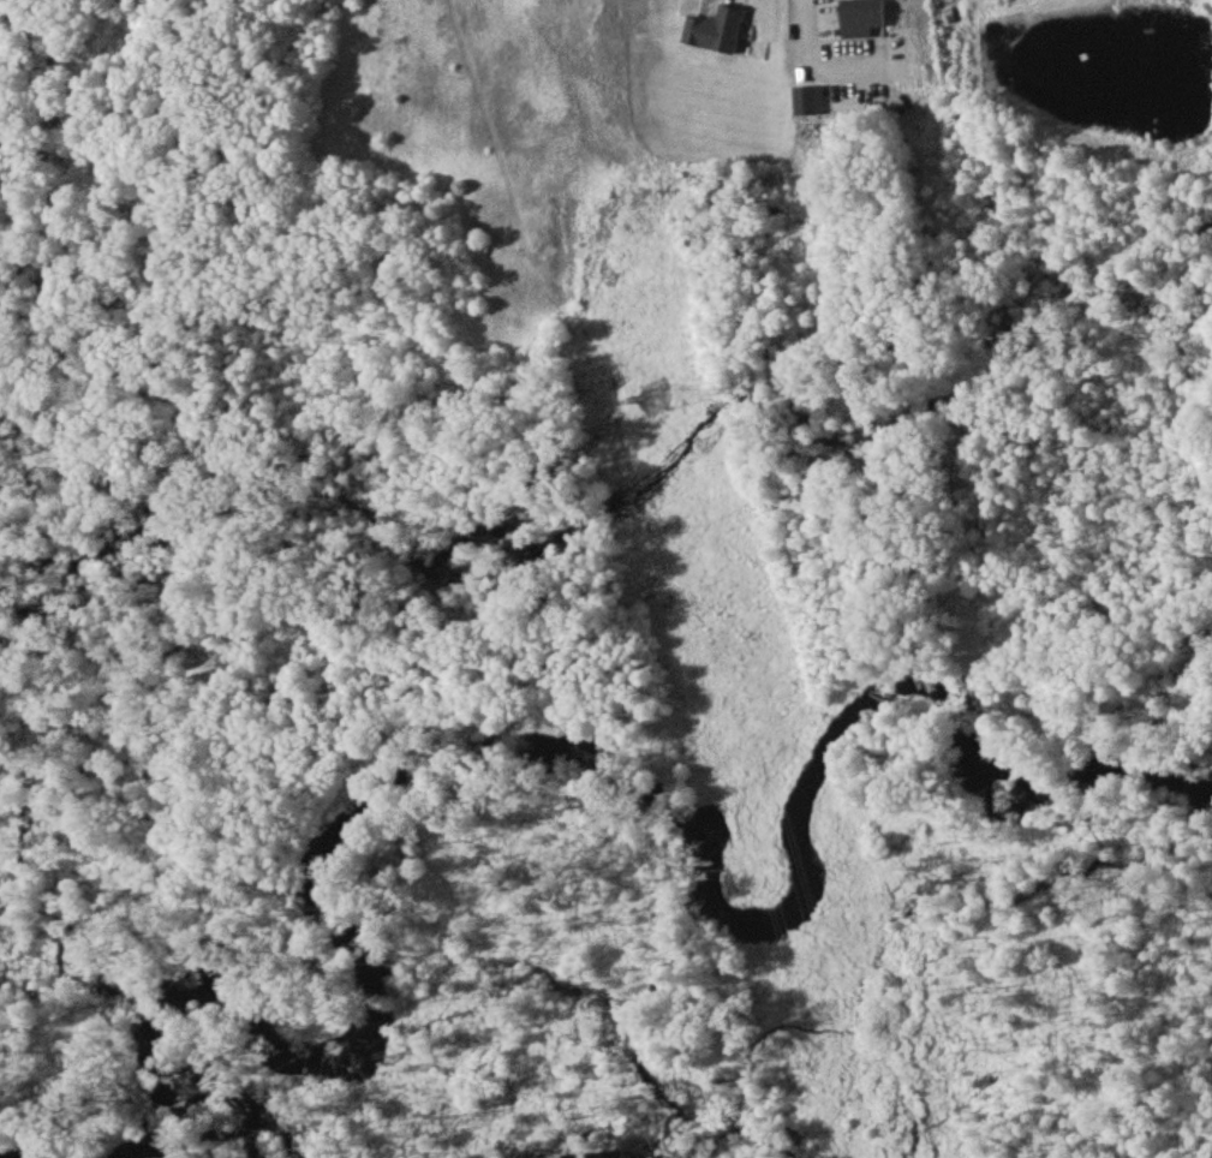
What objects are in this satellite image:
building: (860, 20)
road: (799, 23)
power tower: (655, 405)

